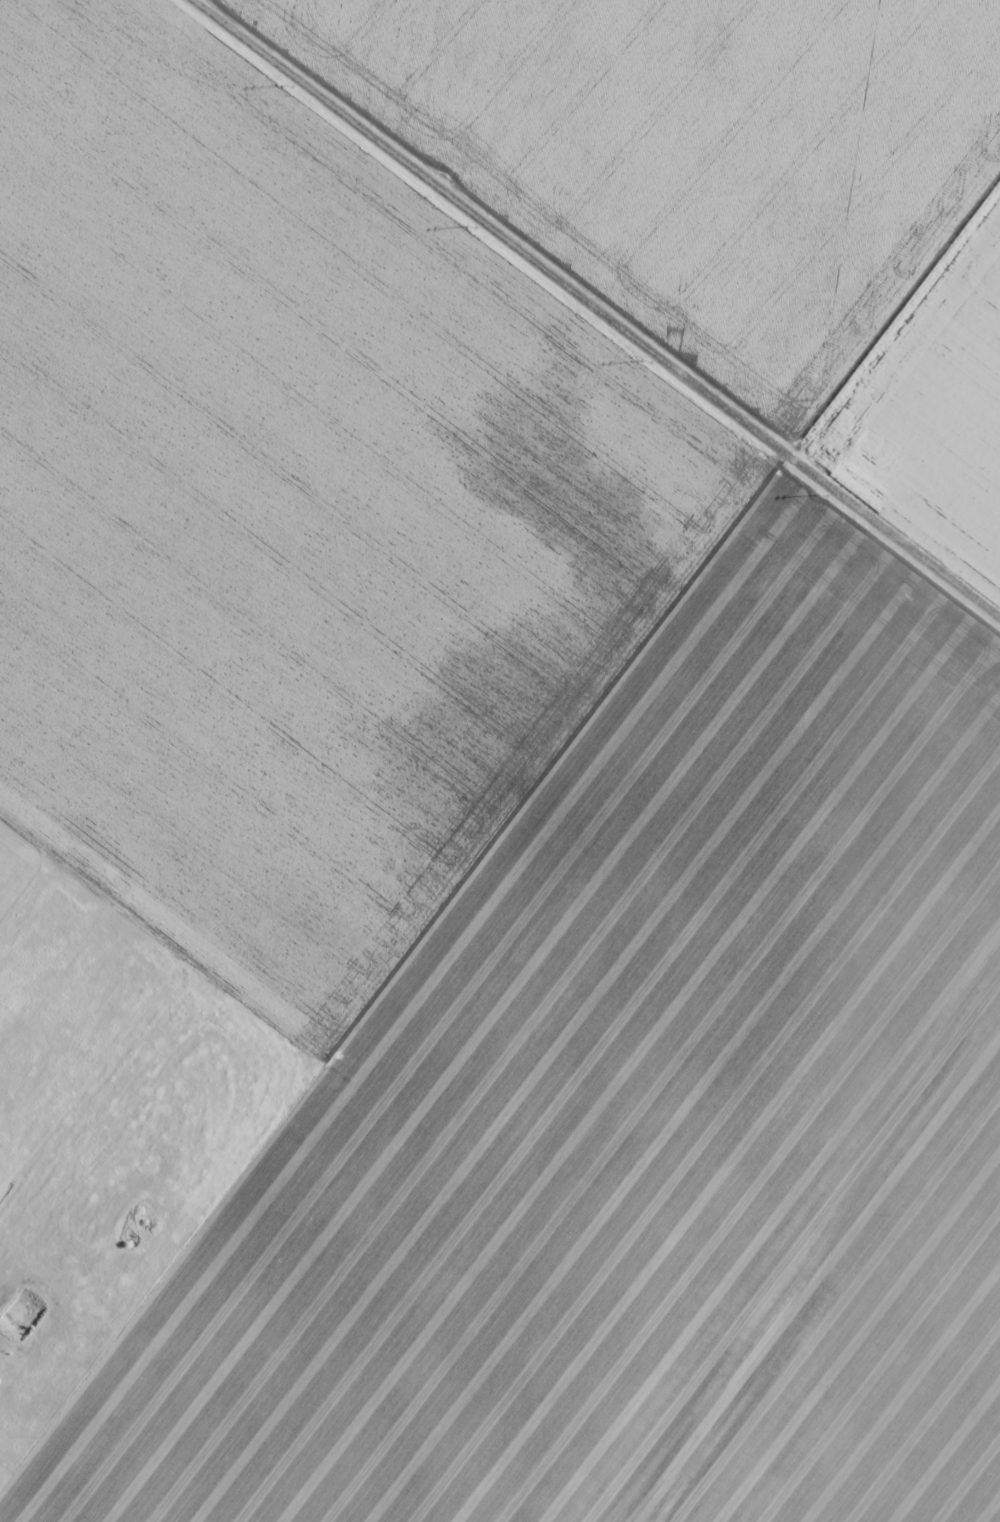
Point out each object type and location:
road: (605, 304)

